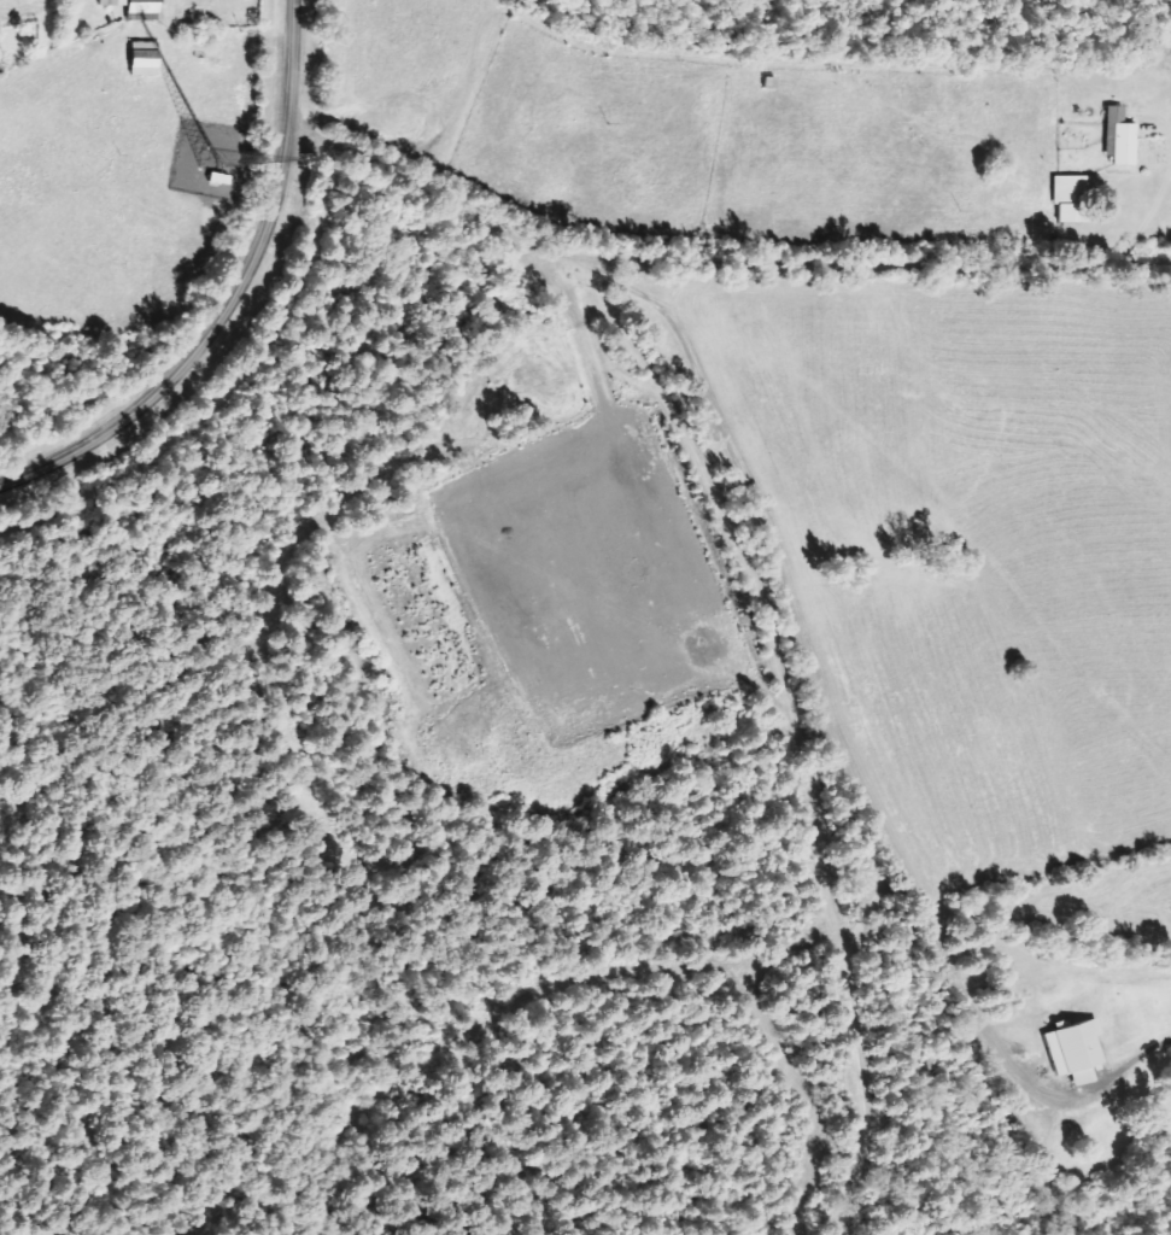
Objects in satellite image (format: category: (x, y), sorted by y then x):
building: (127, 5)
building: (135, 58)
building: (1116, 137)
building: (1066, 199)
road: (724, 213)
road: (236, 299)
building: (1068, 1050)

